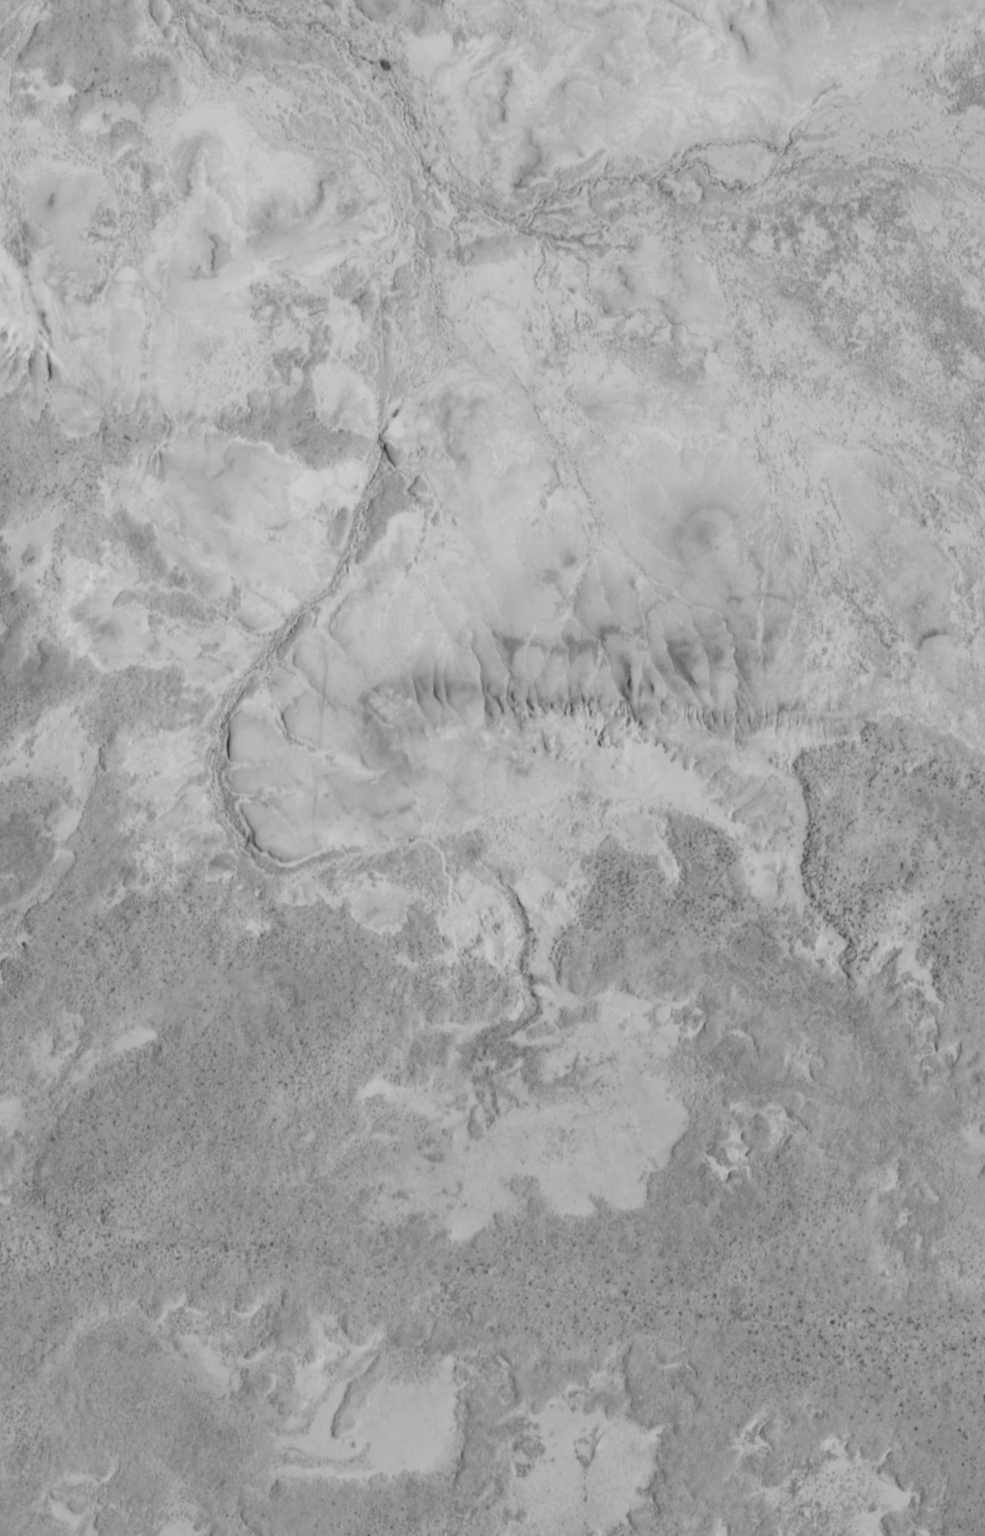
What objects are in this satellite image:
road: (491, 1304)

